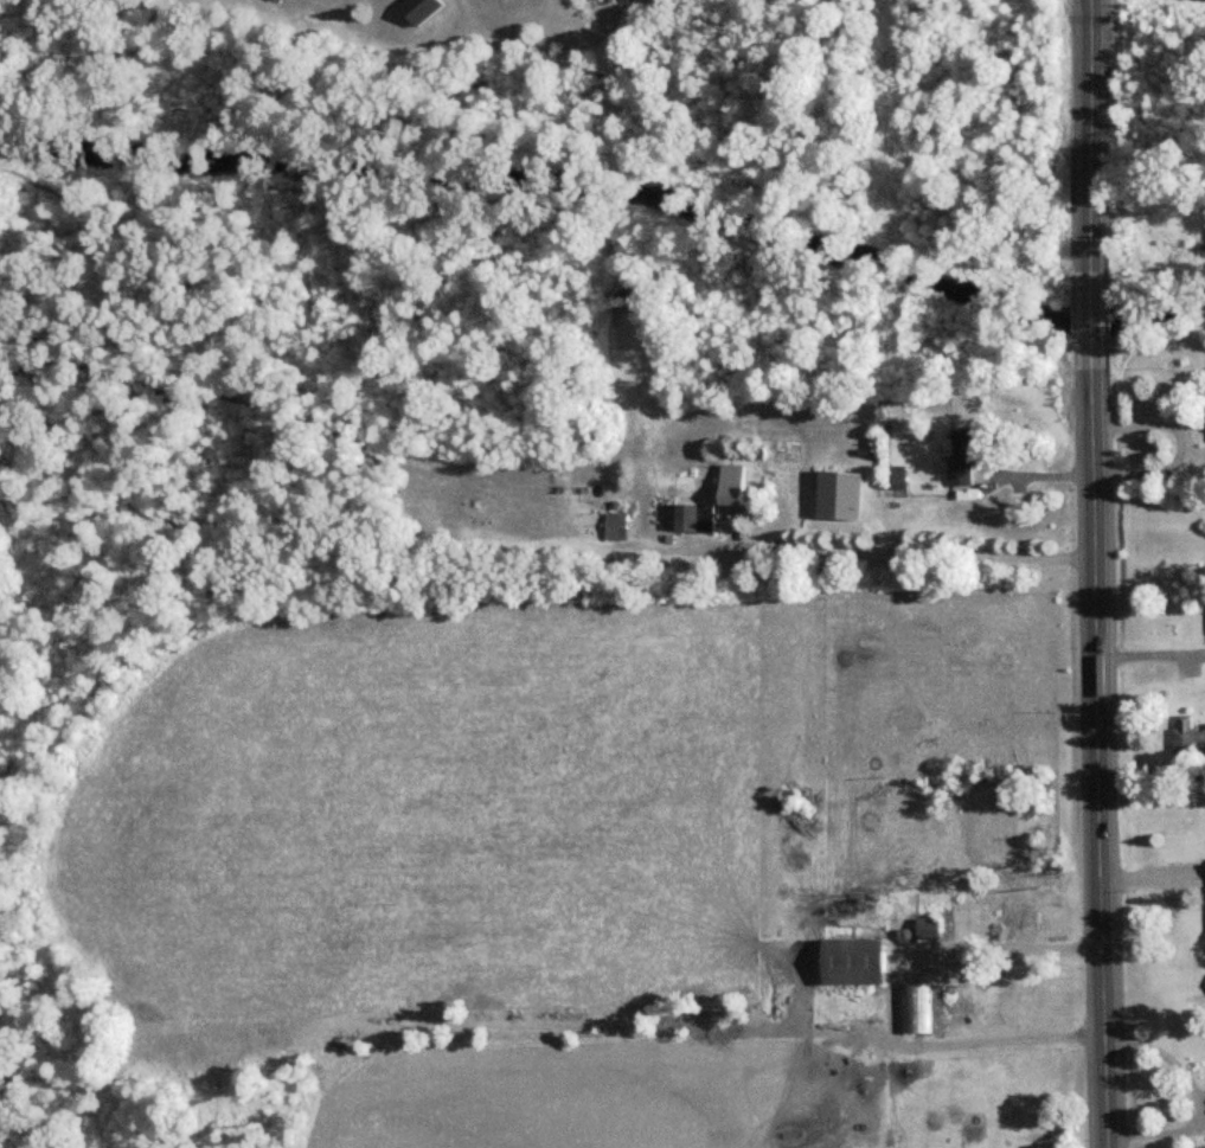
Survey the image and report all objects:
road: (1097, 141)
river: (610, 182)
road: (1102, 331)
building: (966, 454)
building: (898, 475)
building: (733, 488)
building: (687, 515)
building: (615, 524)
road: (910, 549)
road: (1154, 650)
building: (1188, 735)
road: (1107, 763)
road: (1156, 770)
crop: (450, 809)
building: (1019, 921)
building: (854, 960)
road: (885, 1001)
building: (915, 1008)
crop: (591, 1095)
road: (1200, 1095)
crop: (996, 1105)

